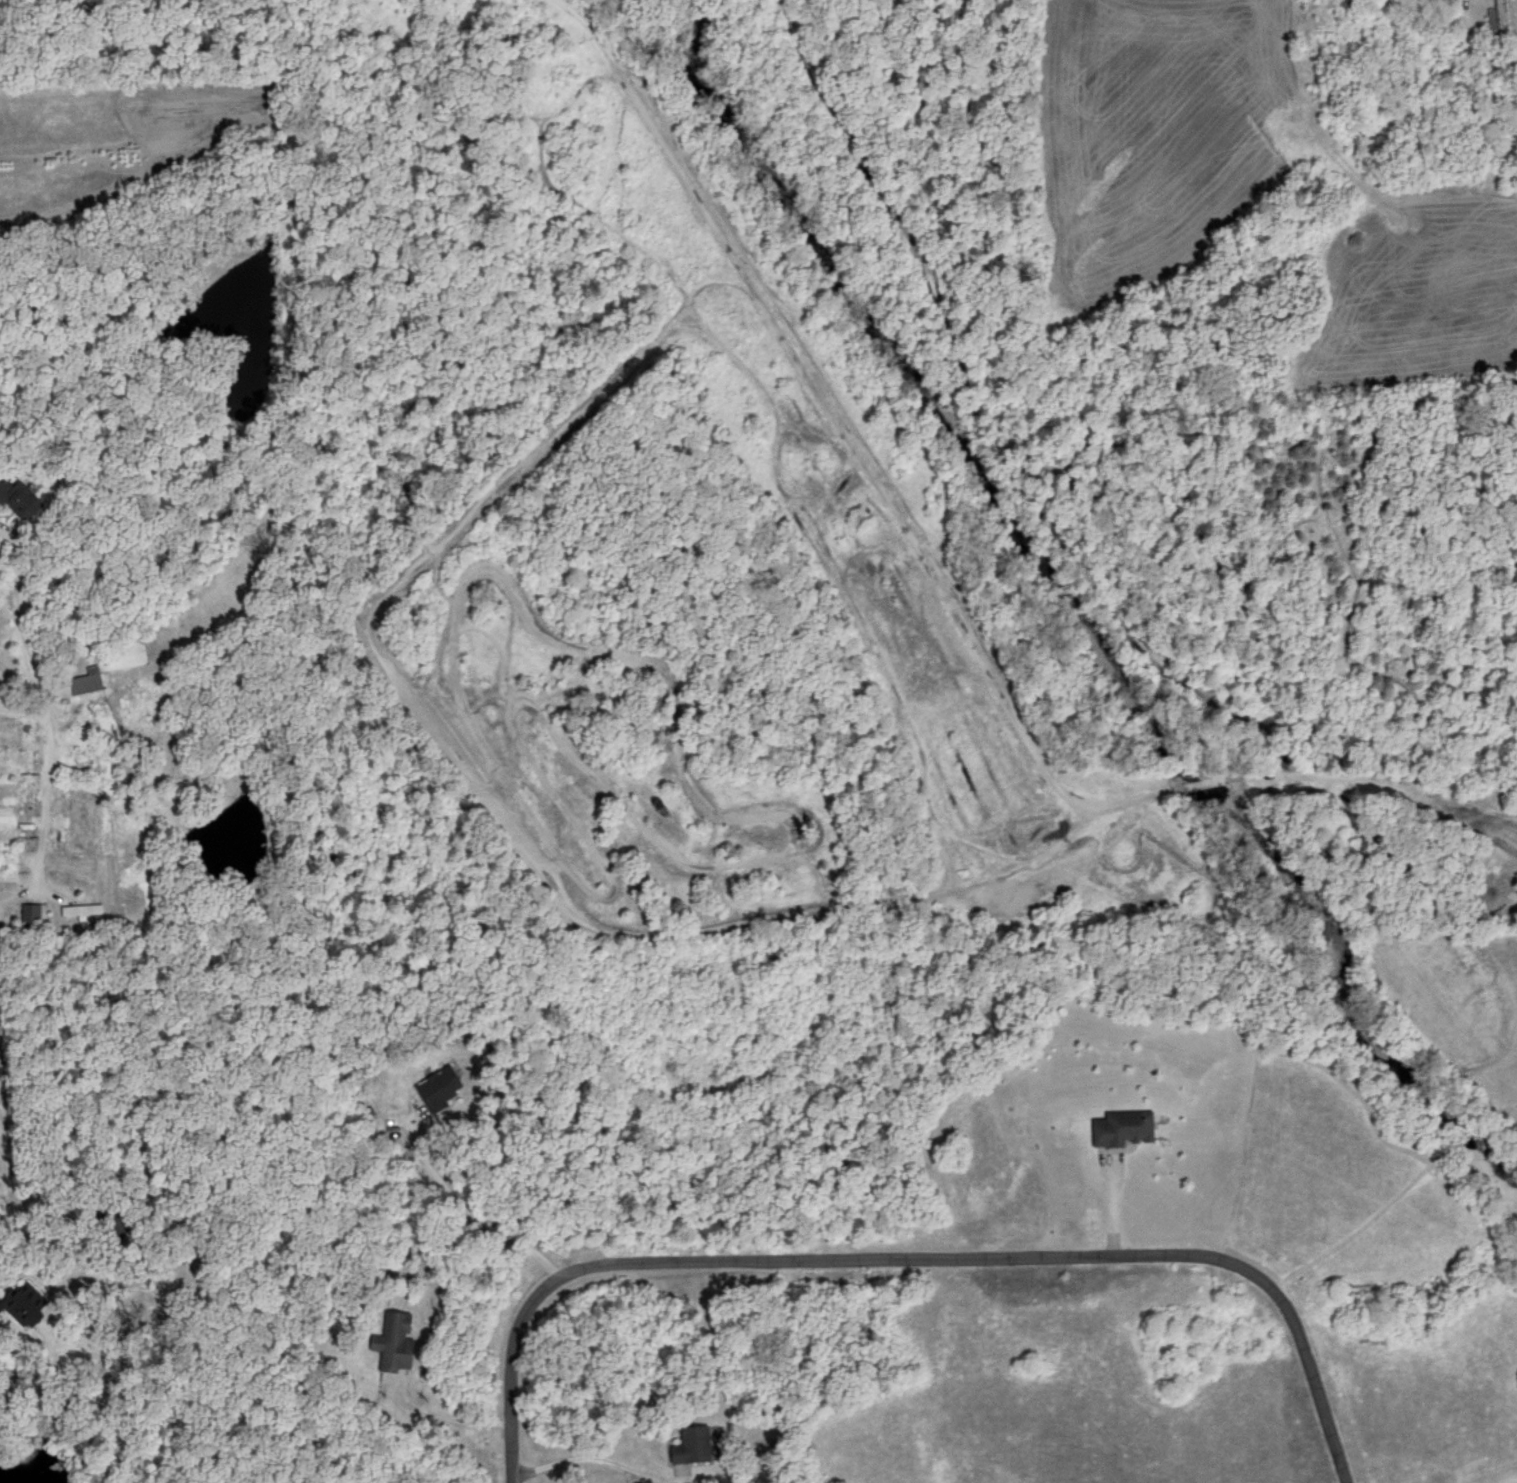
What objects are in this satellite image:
building: (1503, 17)
road: (1476, 45)
building: (22, 495)
road: (21, 628)
building: (83, 681)
building: (1060, 761)
road: (44, 787)
road: (1295, 788)
road: (1066, 813)
building: (80, 907)
road: (889, 912)
building: (32, 913)
building: (441, 1086)
building: (1127, 1125)
road: (469, 1209)
road: (1112, 1210)
road: (908, 1255)
building: (24, 1301)
building: (395, 1338)
road: (448, 1415)
building: (694, 1442)
road: (593, 1455)

